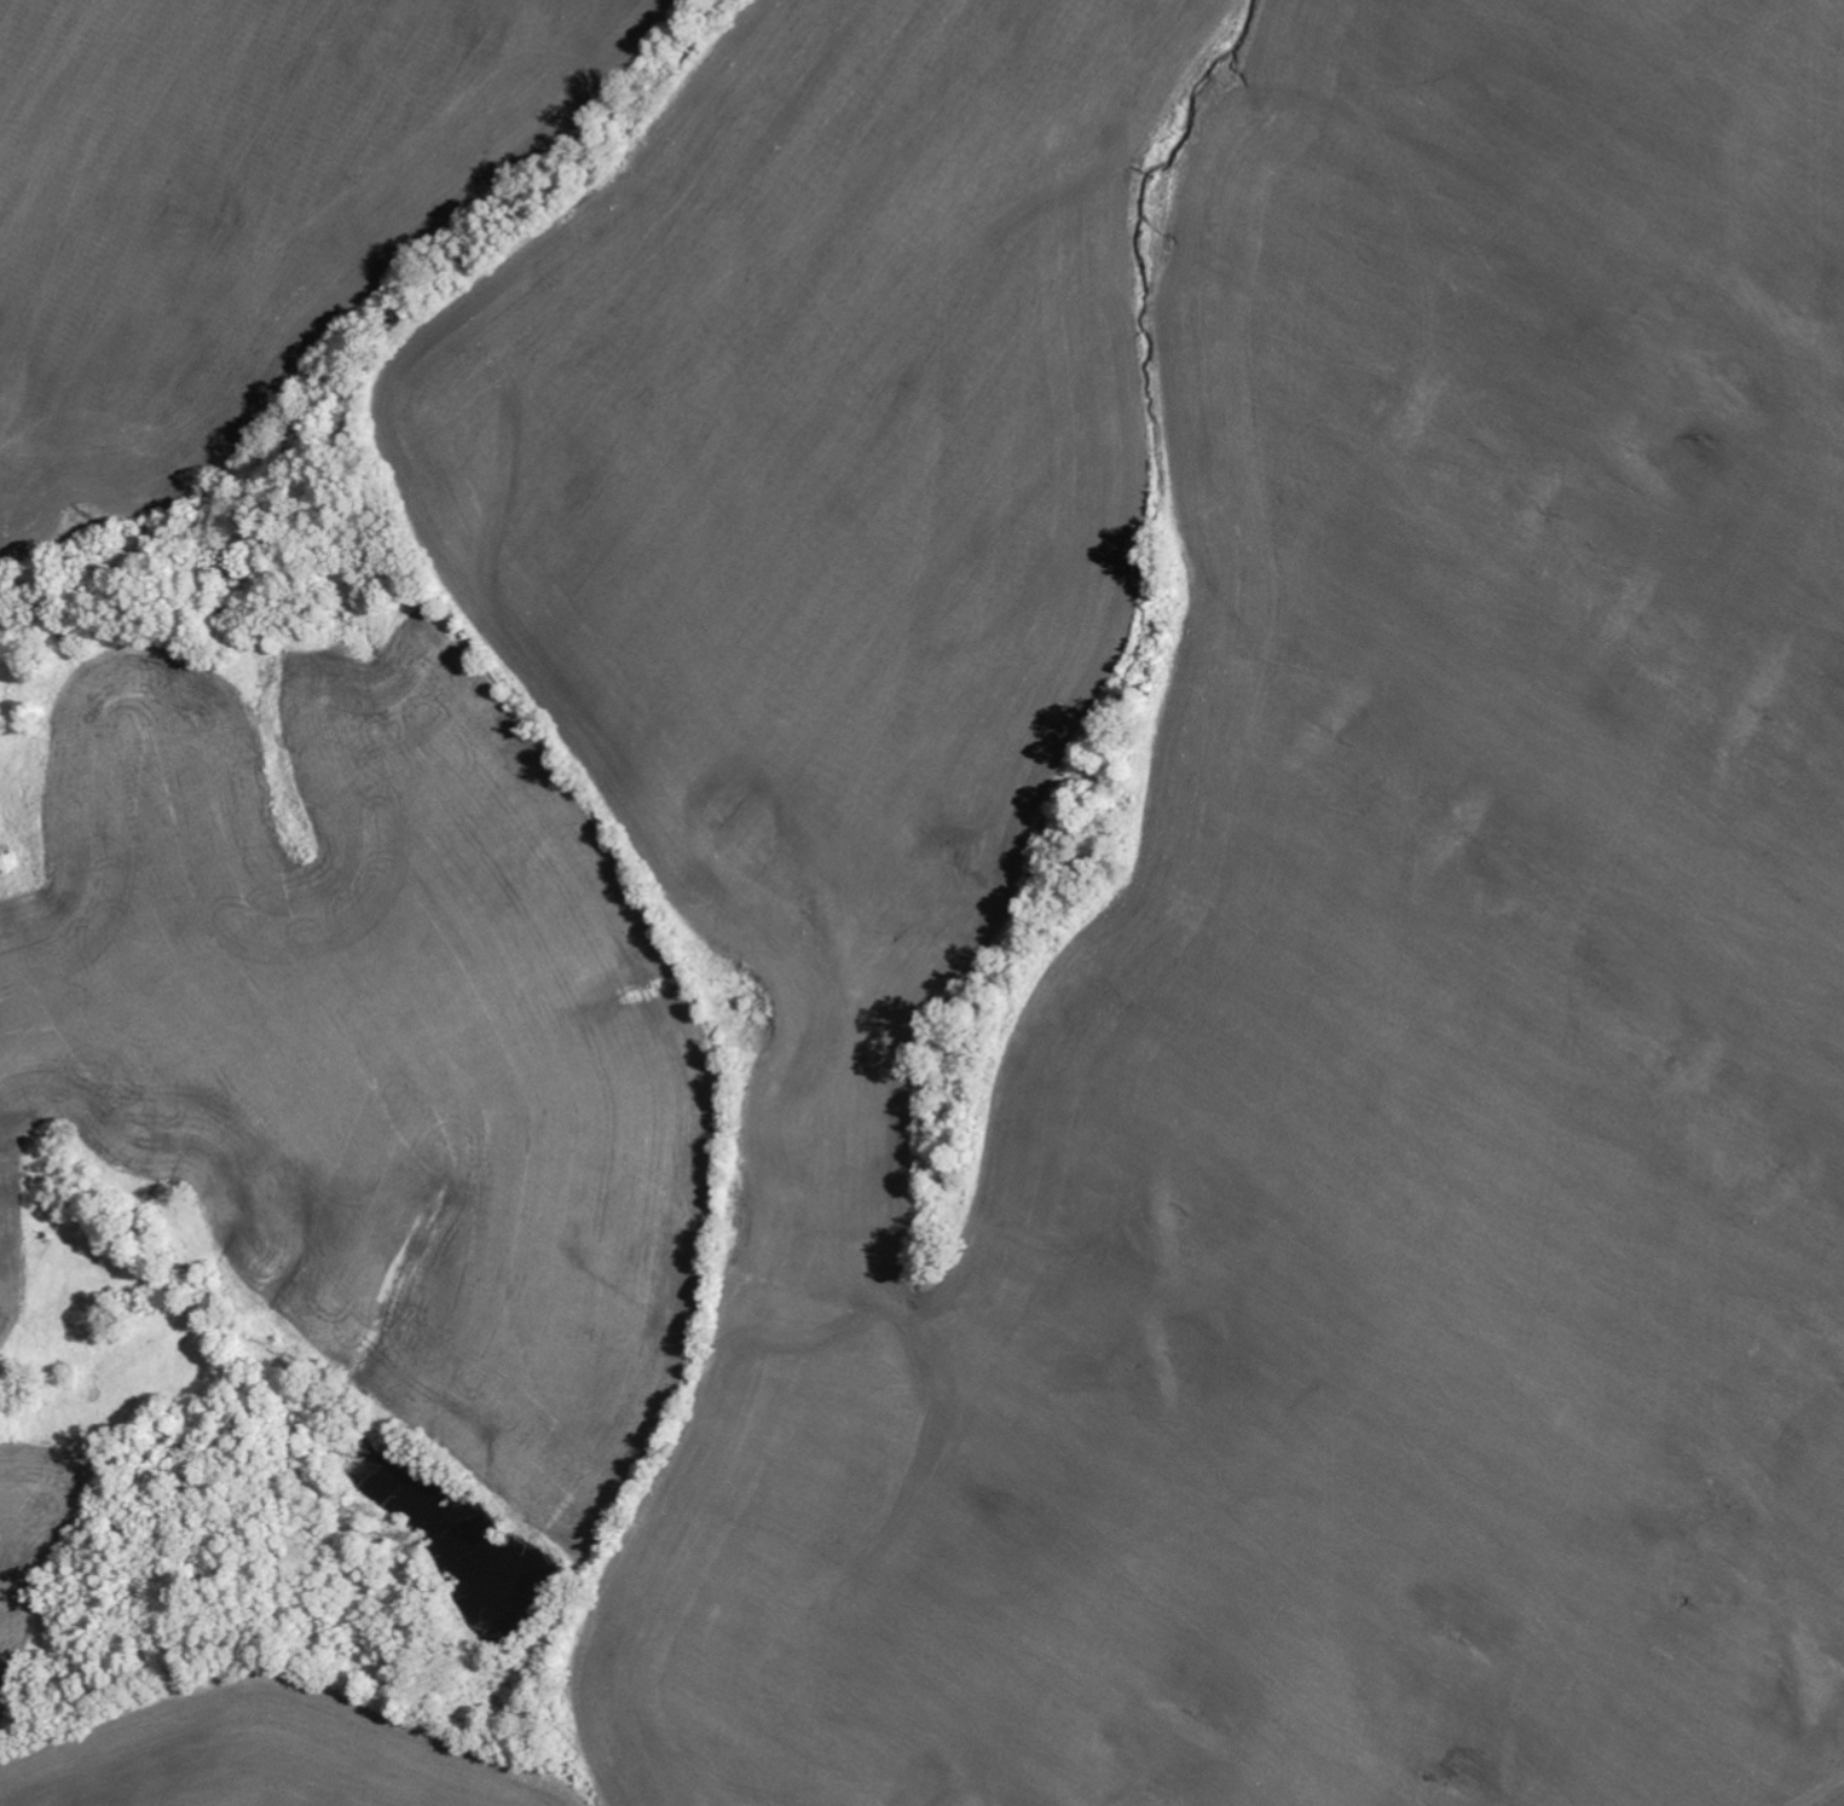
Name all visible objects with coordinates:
road: (68, 64)

